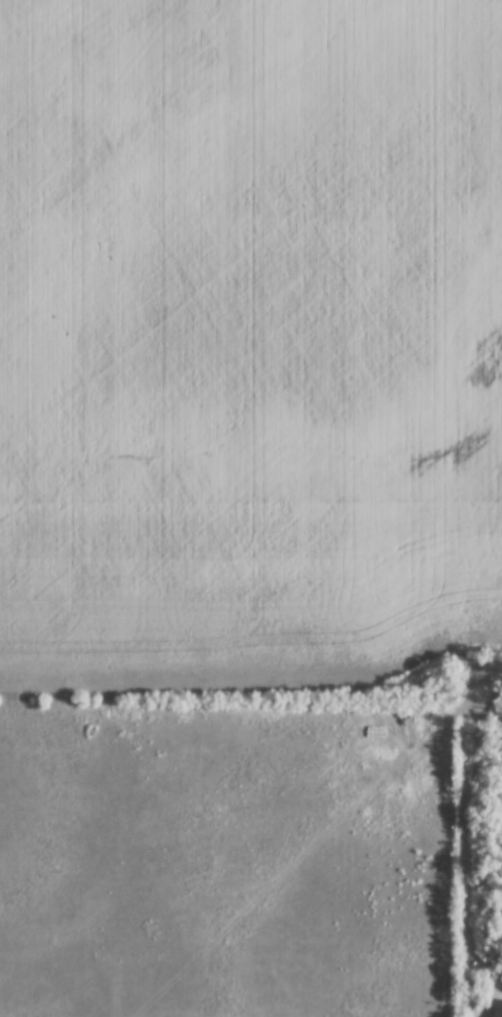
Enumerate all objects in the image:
building: (496, 1010)

